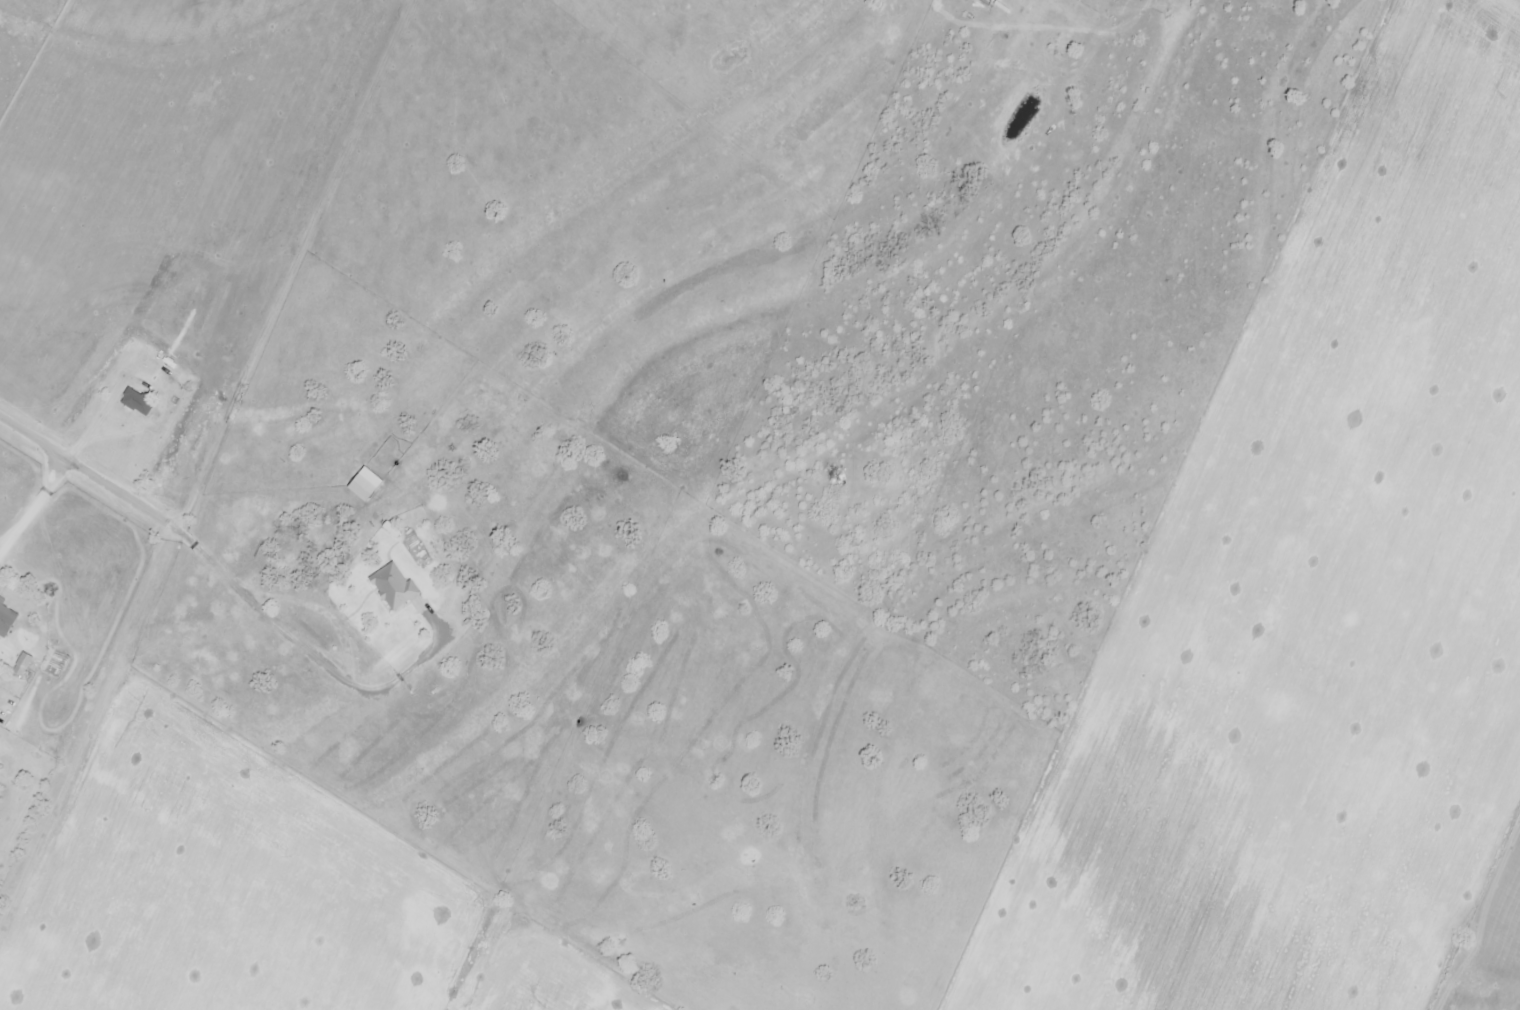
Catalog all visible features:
building: (136, 402)
road: (91, 475)
road: (33, 508)
building: (6, 619)

